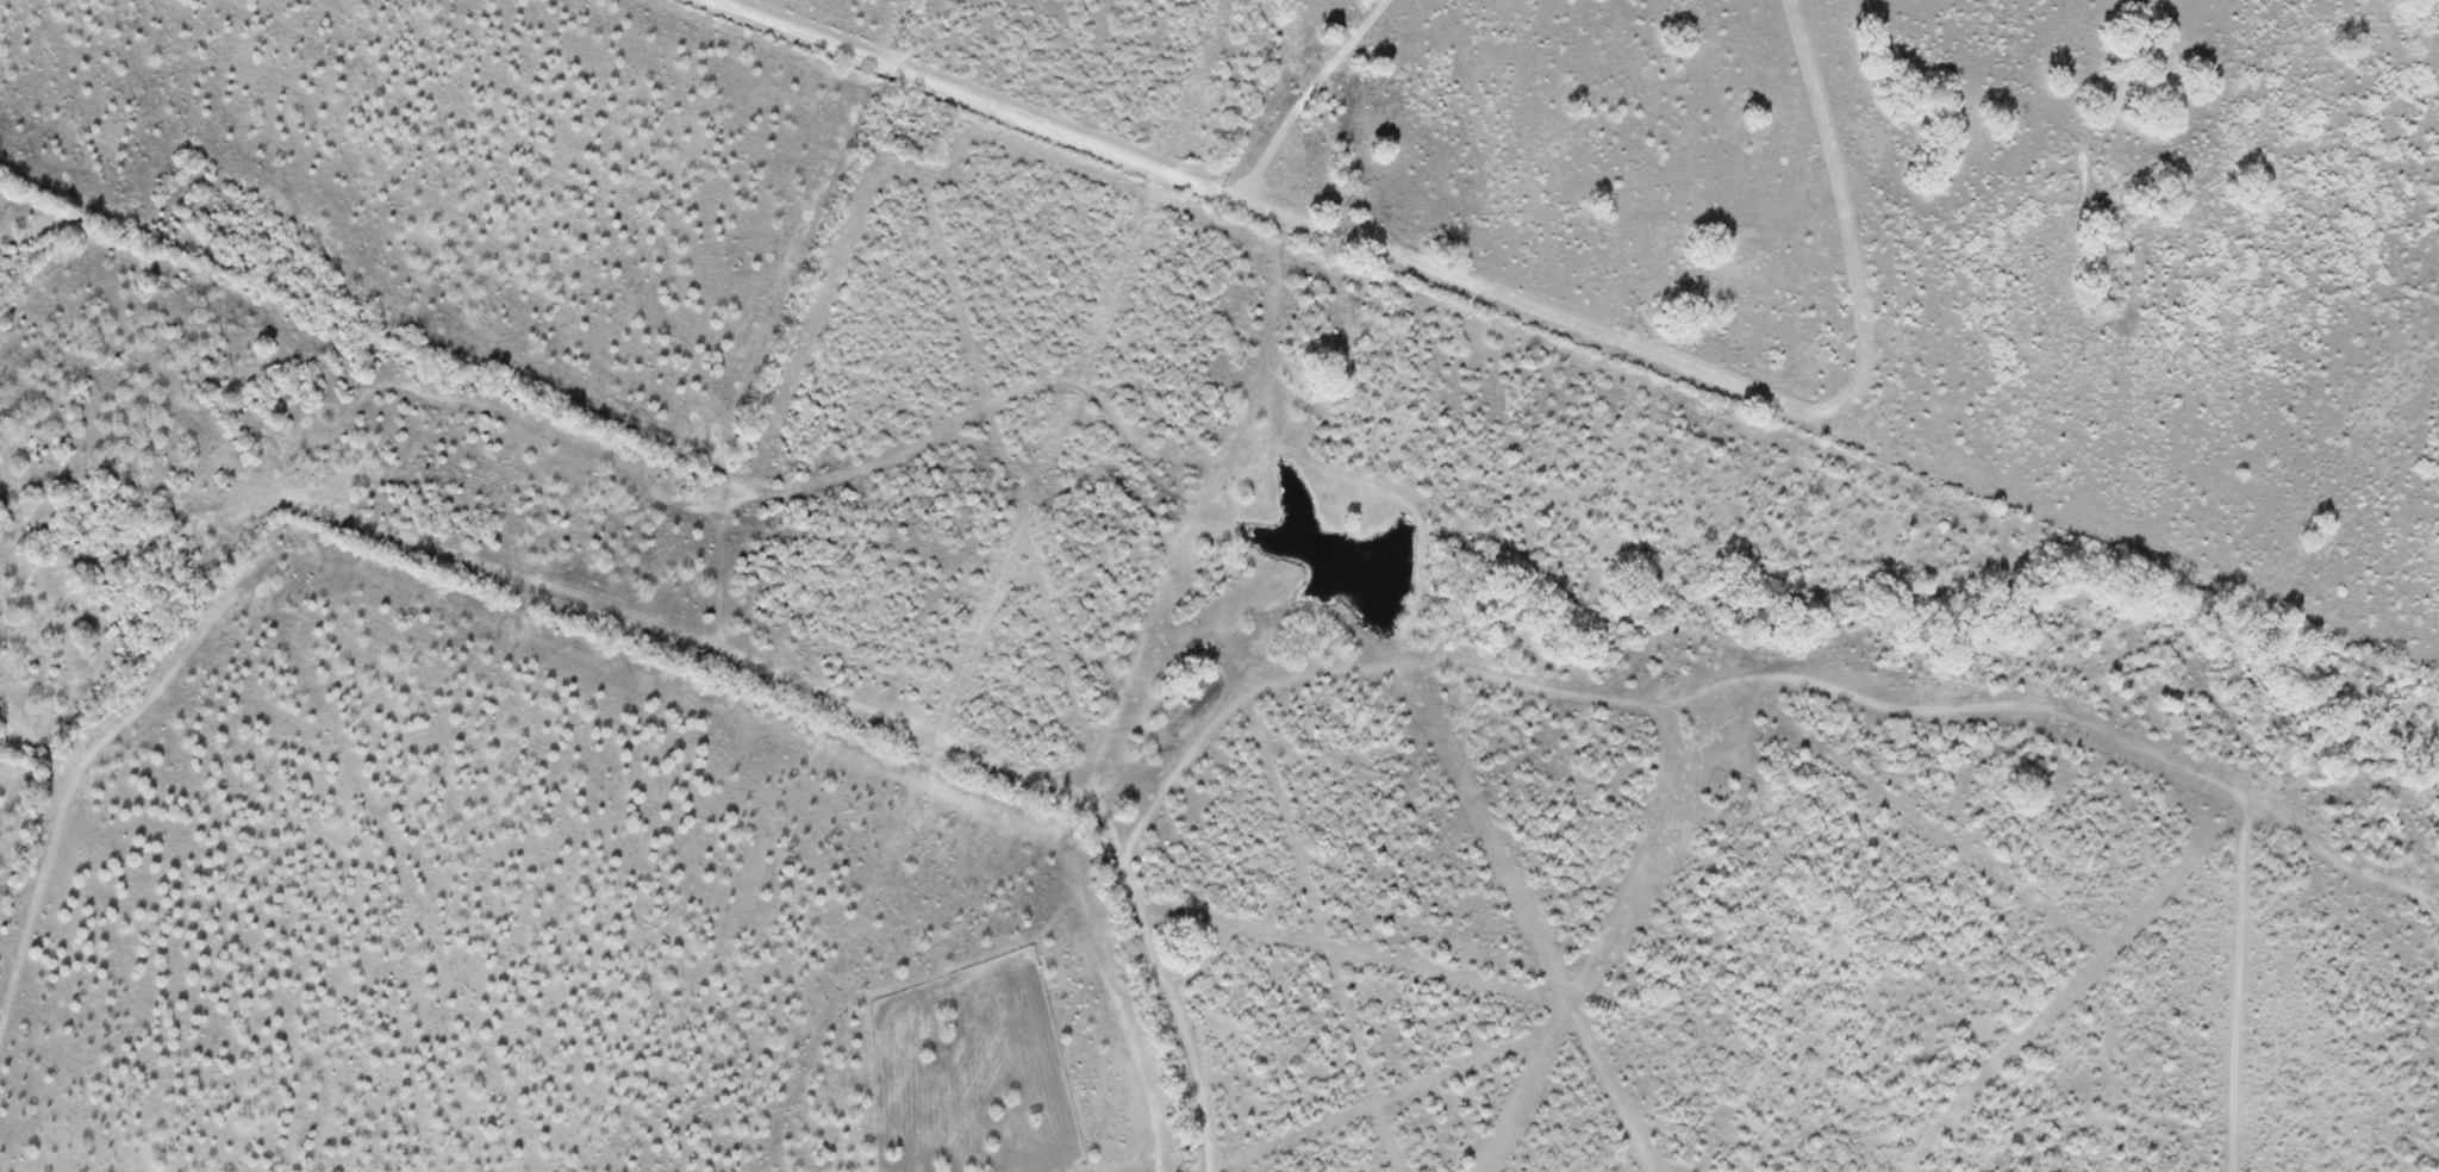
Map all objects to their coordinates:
road: (968, 100)

